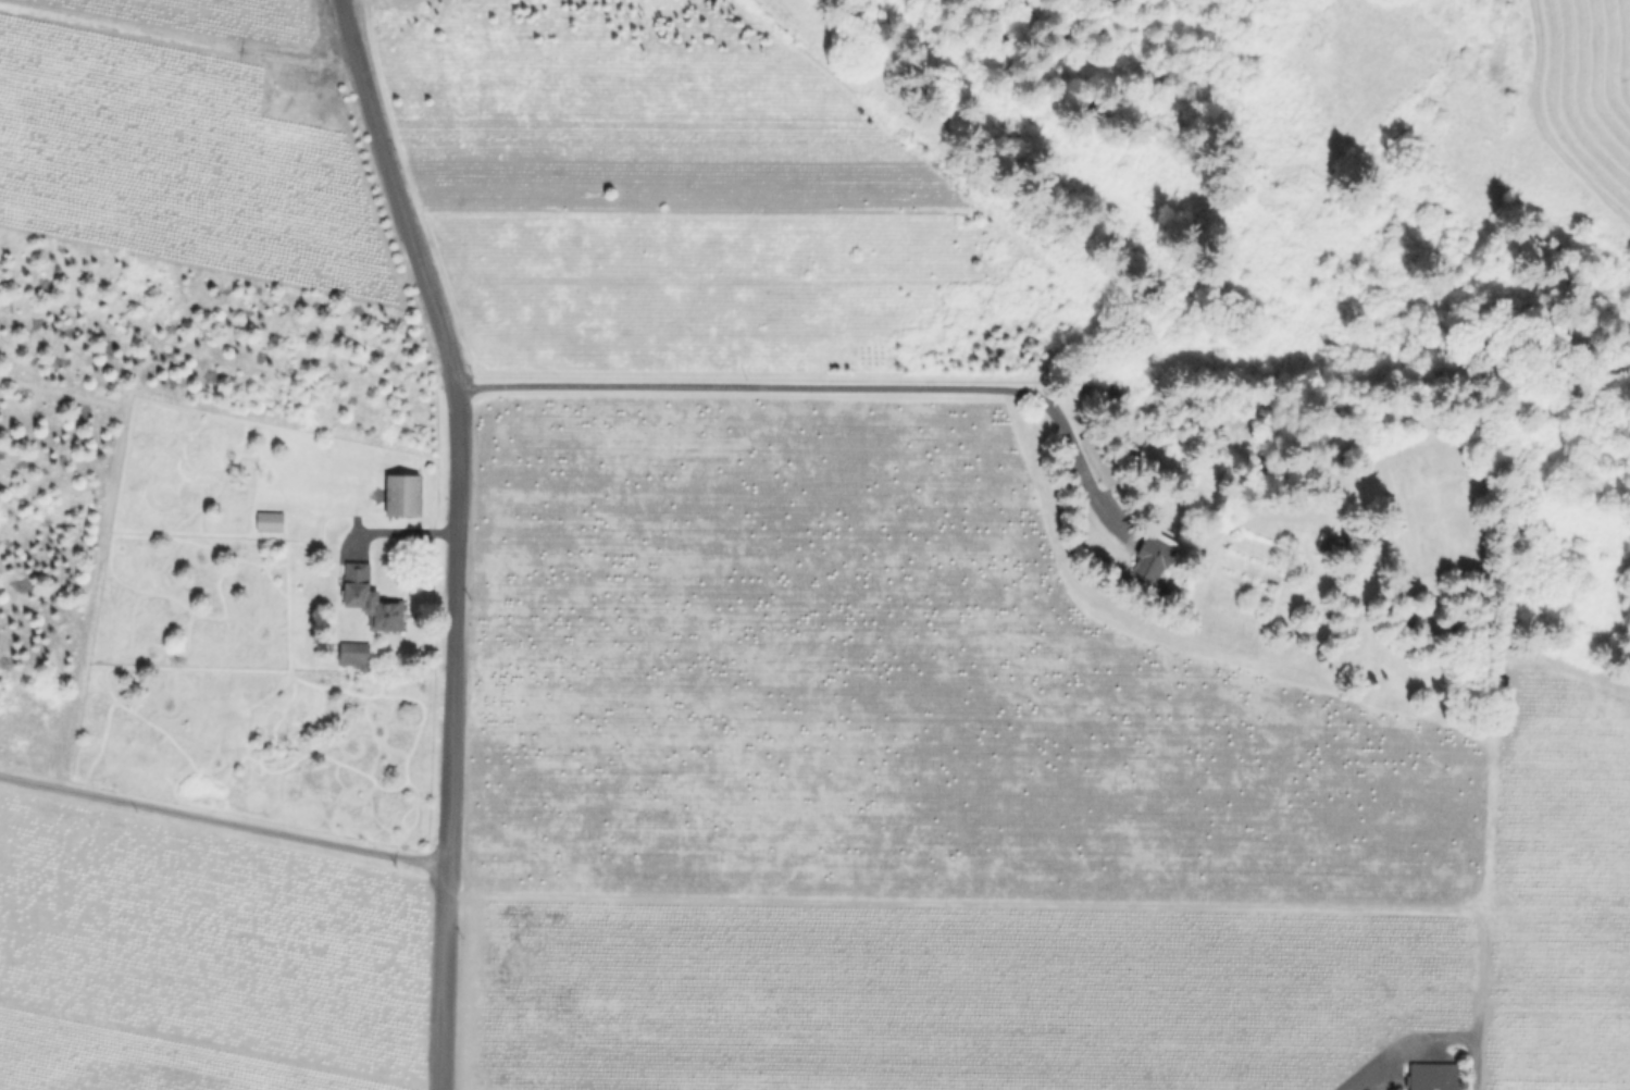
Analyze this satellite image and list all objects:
road: (175, 37)
road: (825, 387)
building: (1120, 389)
building: (1134, 454)
building: (1104, 459)
building: (405, 495)
building: (271, 521)
road: (402, 534)
road: (461, 535)
building: (1337, 546)
building: (1156, 558)
building: (372, 599)
building: (354, 652)
road: (225, 822)
building: (1432, 1077)

